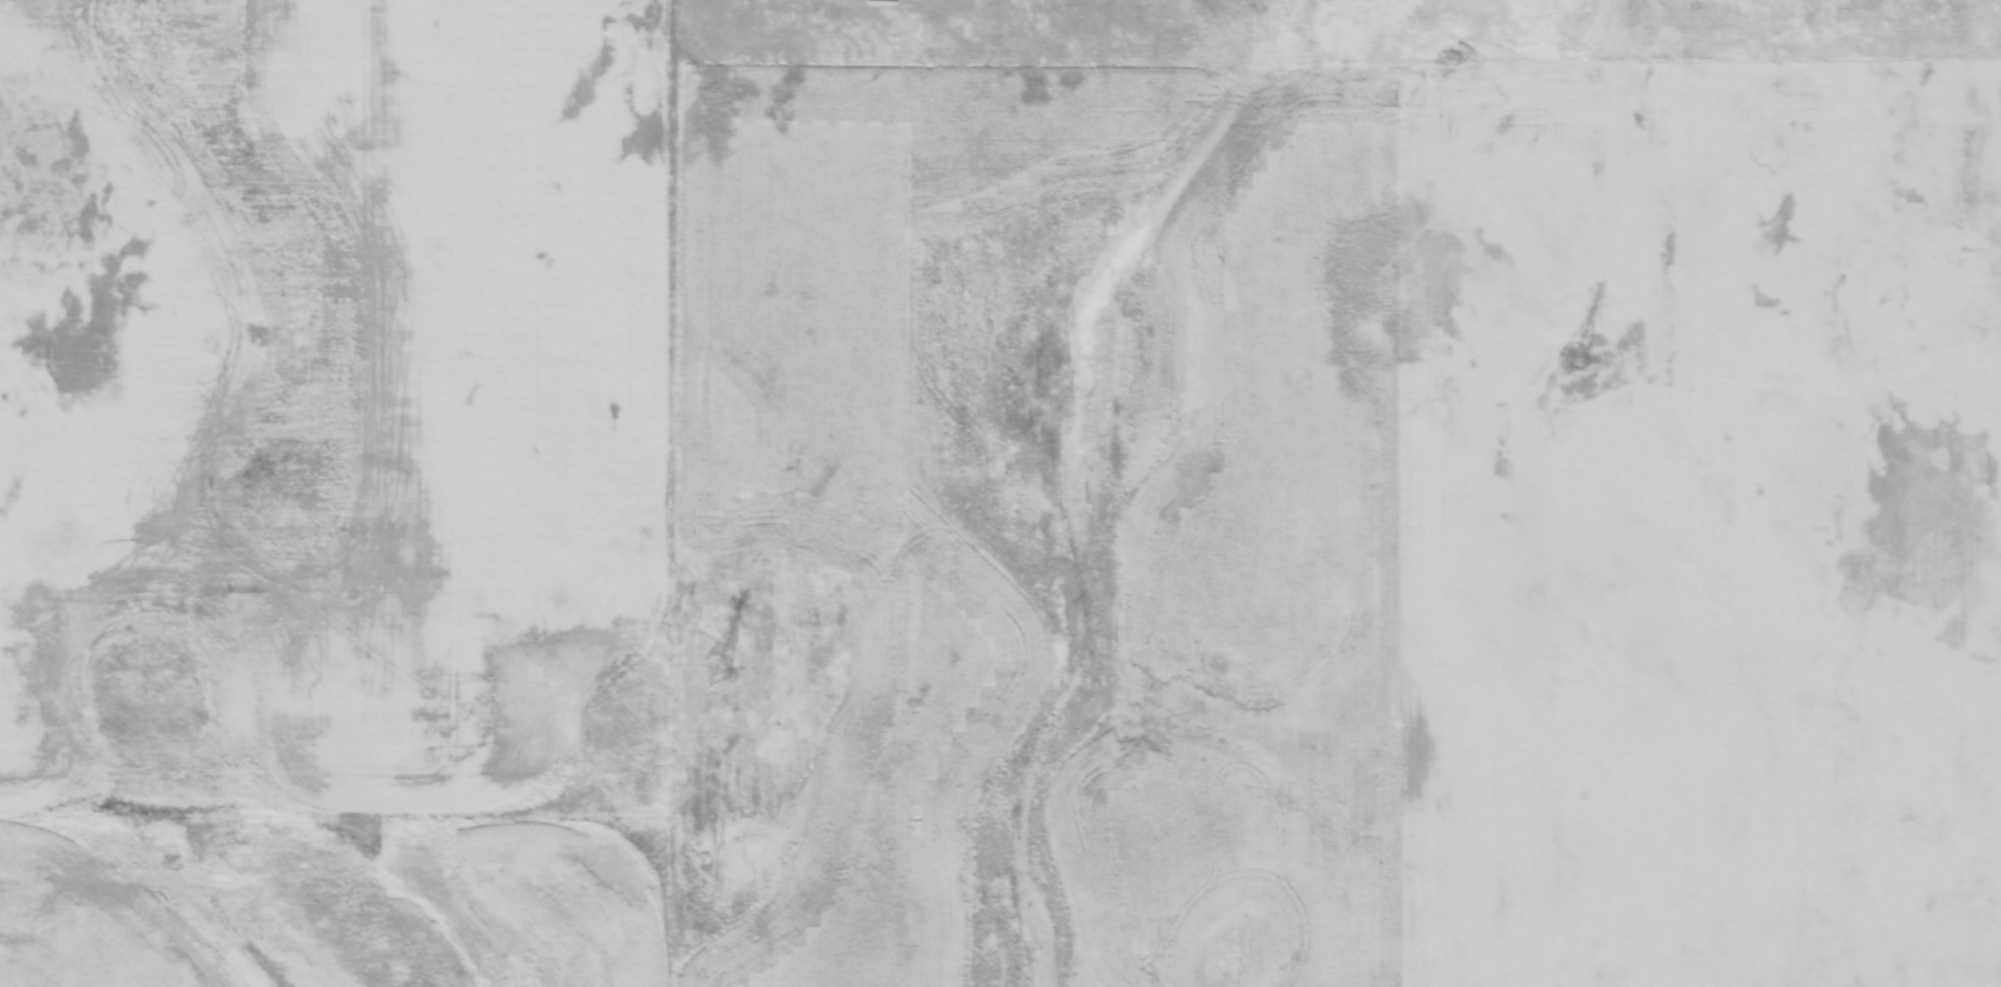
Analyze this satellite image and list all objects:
power tower: (1577, 357)
power tower: (719, 670)

